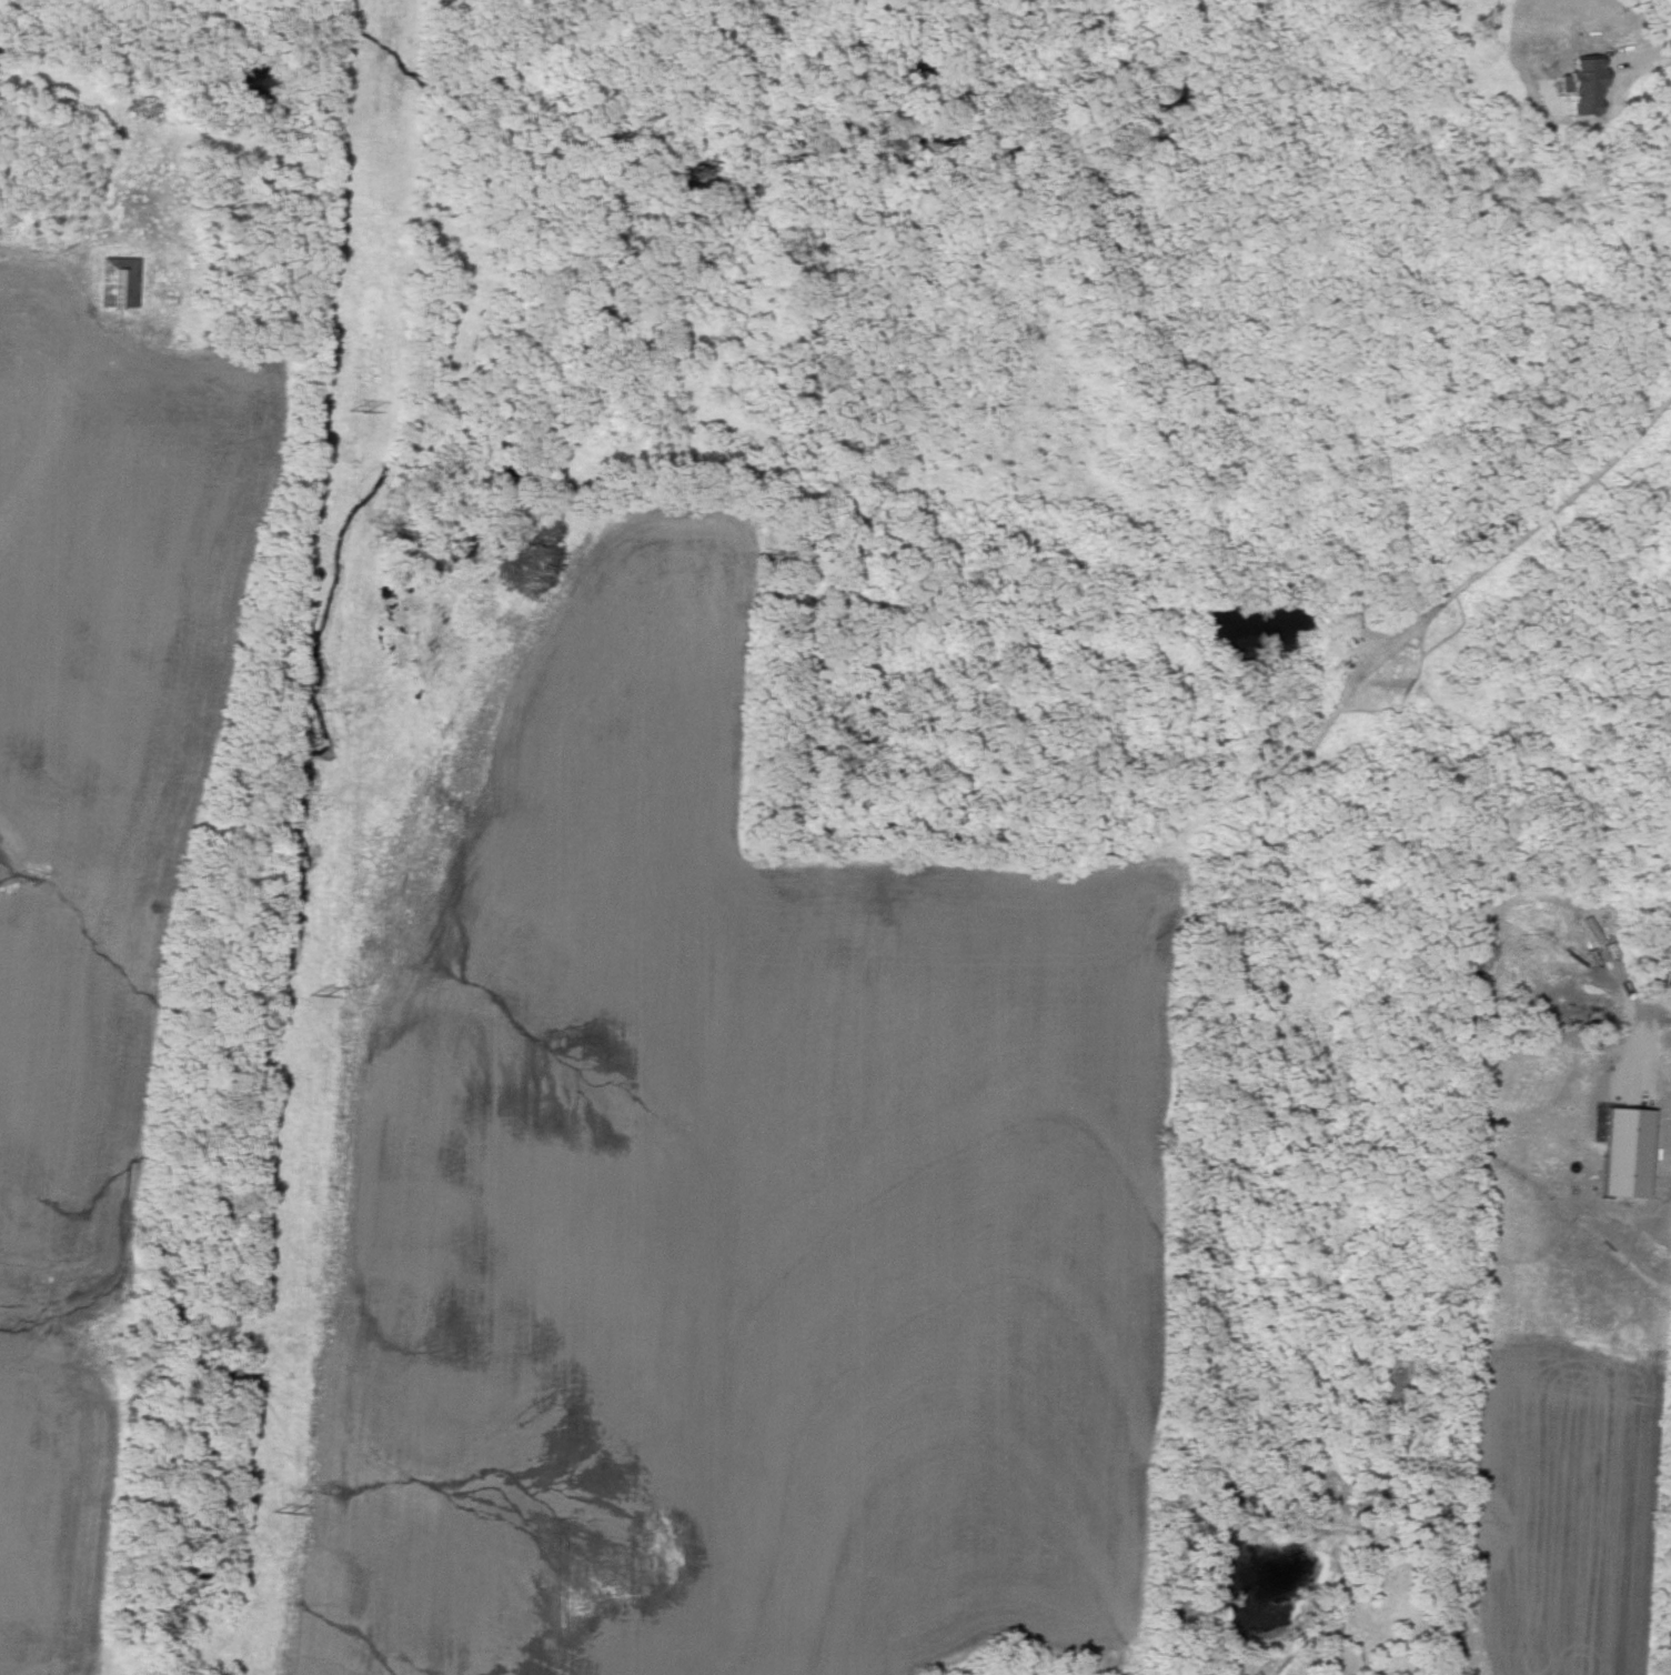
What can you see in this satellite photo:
road: (1642, 51)
building: (1581, 86)
road: (37, 252)
building: (117, 282)
power tower: (363, 411)
crop: (123, 771)
power tower: (325, 997)
building: (1625, 1152)
crop: (754, 1204)
crop: (1573, 1361)
crop: (67, 1517)
power tower: (286, 1518)

